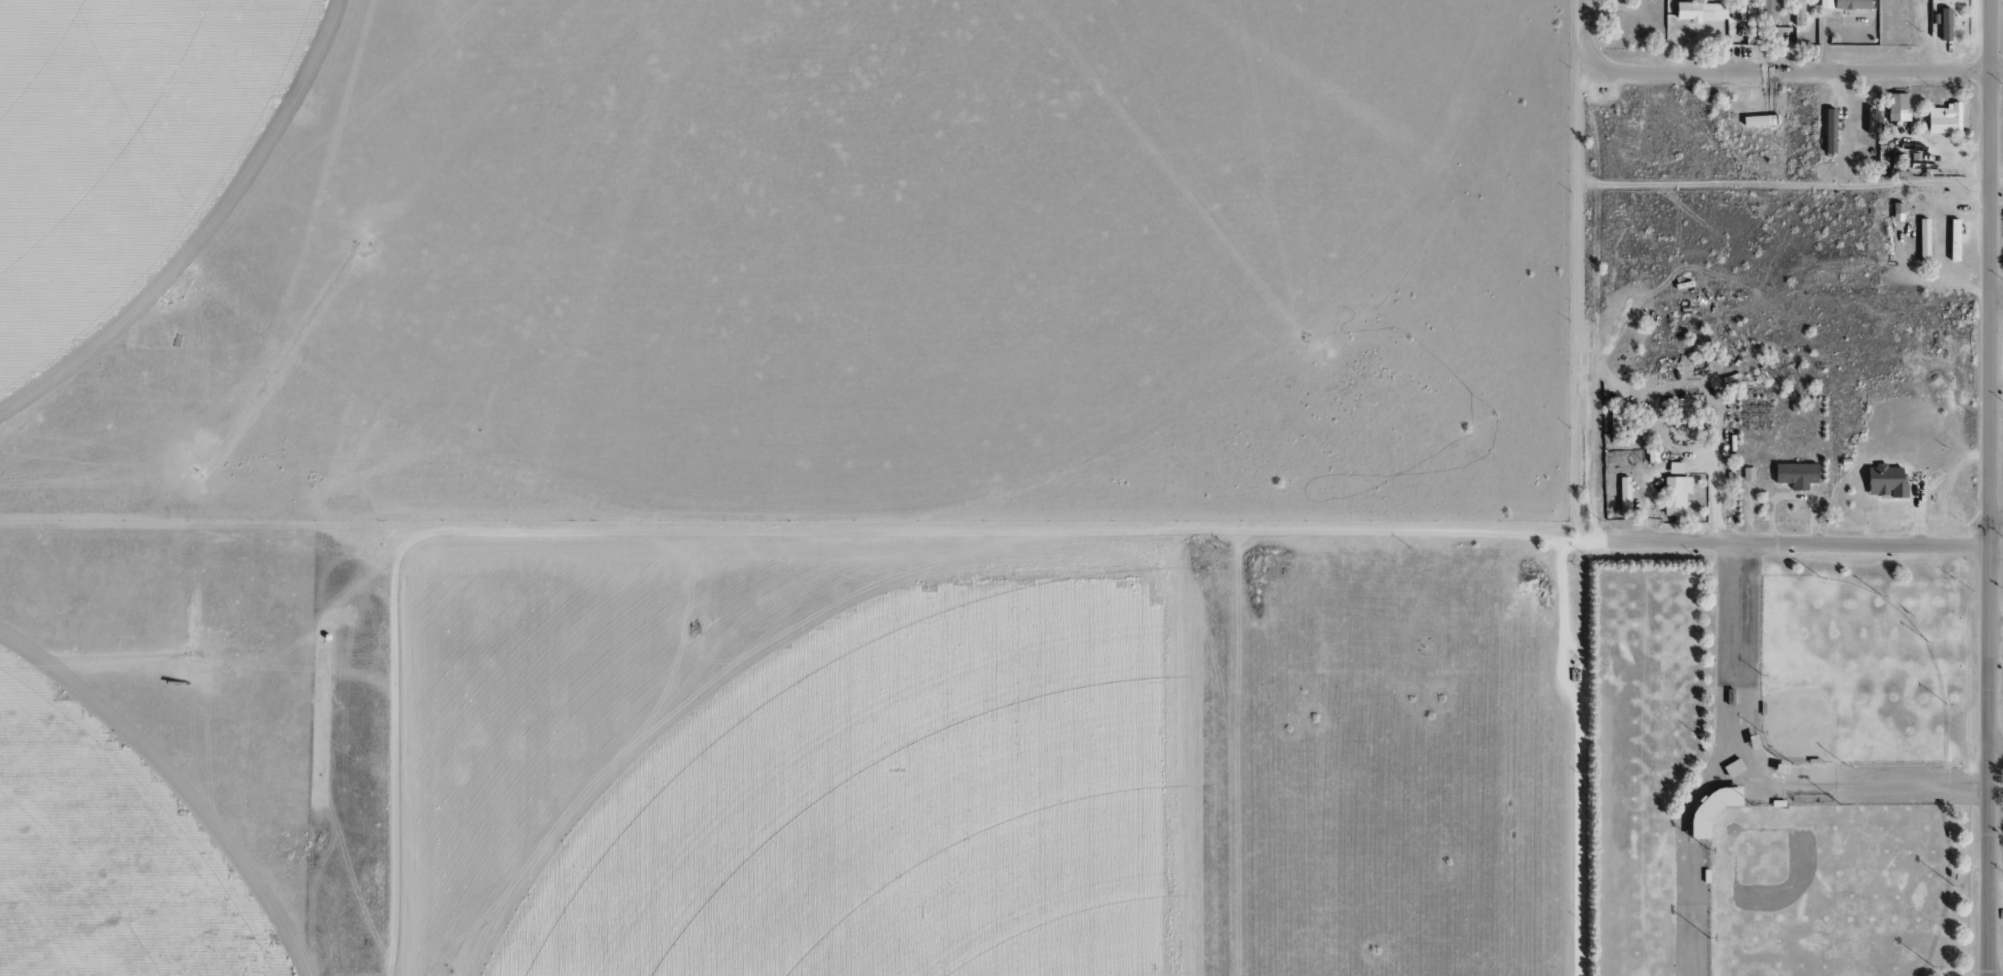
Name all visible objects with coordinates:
building: (1842, 4)
building: (1698, 11)
building: (1747, 12)
building: (1766, 13)
building: (1797, 13)
building: (1943, 24)
road: (1801, 67)
building: (1895, 107)
building: (1942, 119)
building: (1827, 131)
building: (1894, 212)
building: (1951, 240)
building: (1921, 241)
road: (1598, 265)
road: (1995, 301)
building: (1678, 405)
building: (1673, 467)
building: (1746, 473)
building: (1793, 474)
building: (1883, 480)
road: (1988, 487)
building: (1622, 494)
building: (1673, 496)
road: (1996, 522)
road: (575, 528)
road: (1584, 536)
road: (1946, 569)
road: (1726, 663)
park: (1842, 674)
road: (1604, 720)
road: (1995, 749)
road: (1767, 755)
road: (1692, 758)
park: (1779, 762)
road: (1753, 787)
road: (1752, 804)
road: (1957, 887)
park: (1826, 888)

